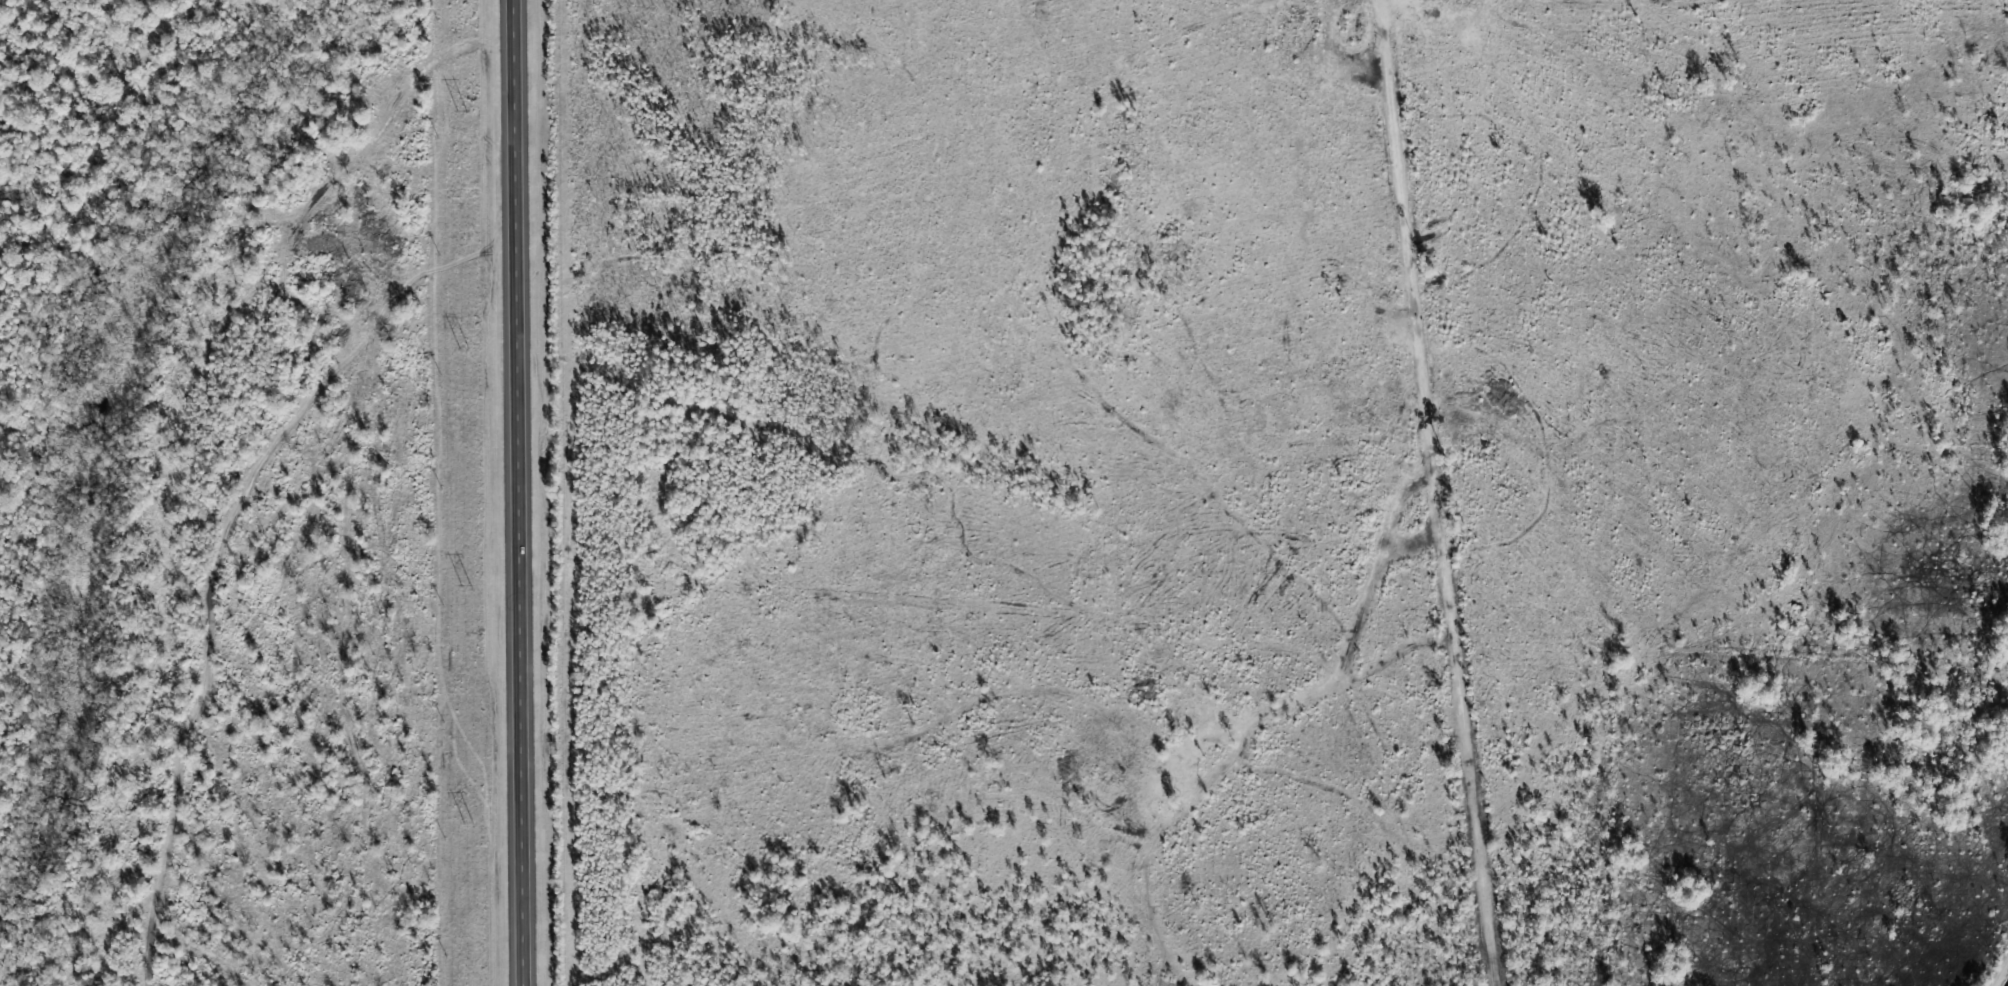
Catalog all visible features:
road: (519, 492)

